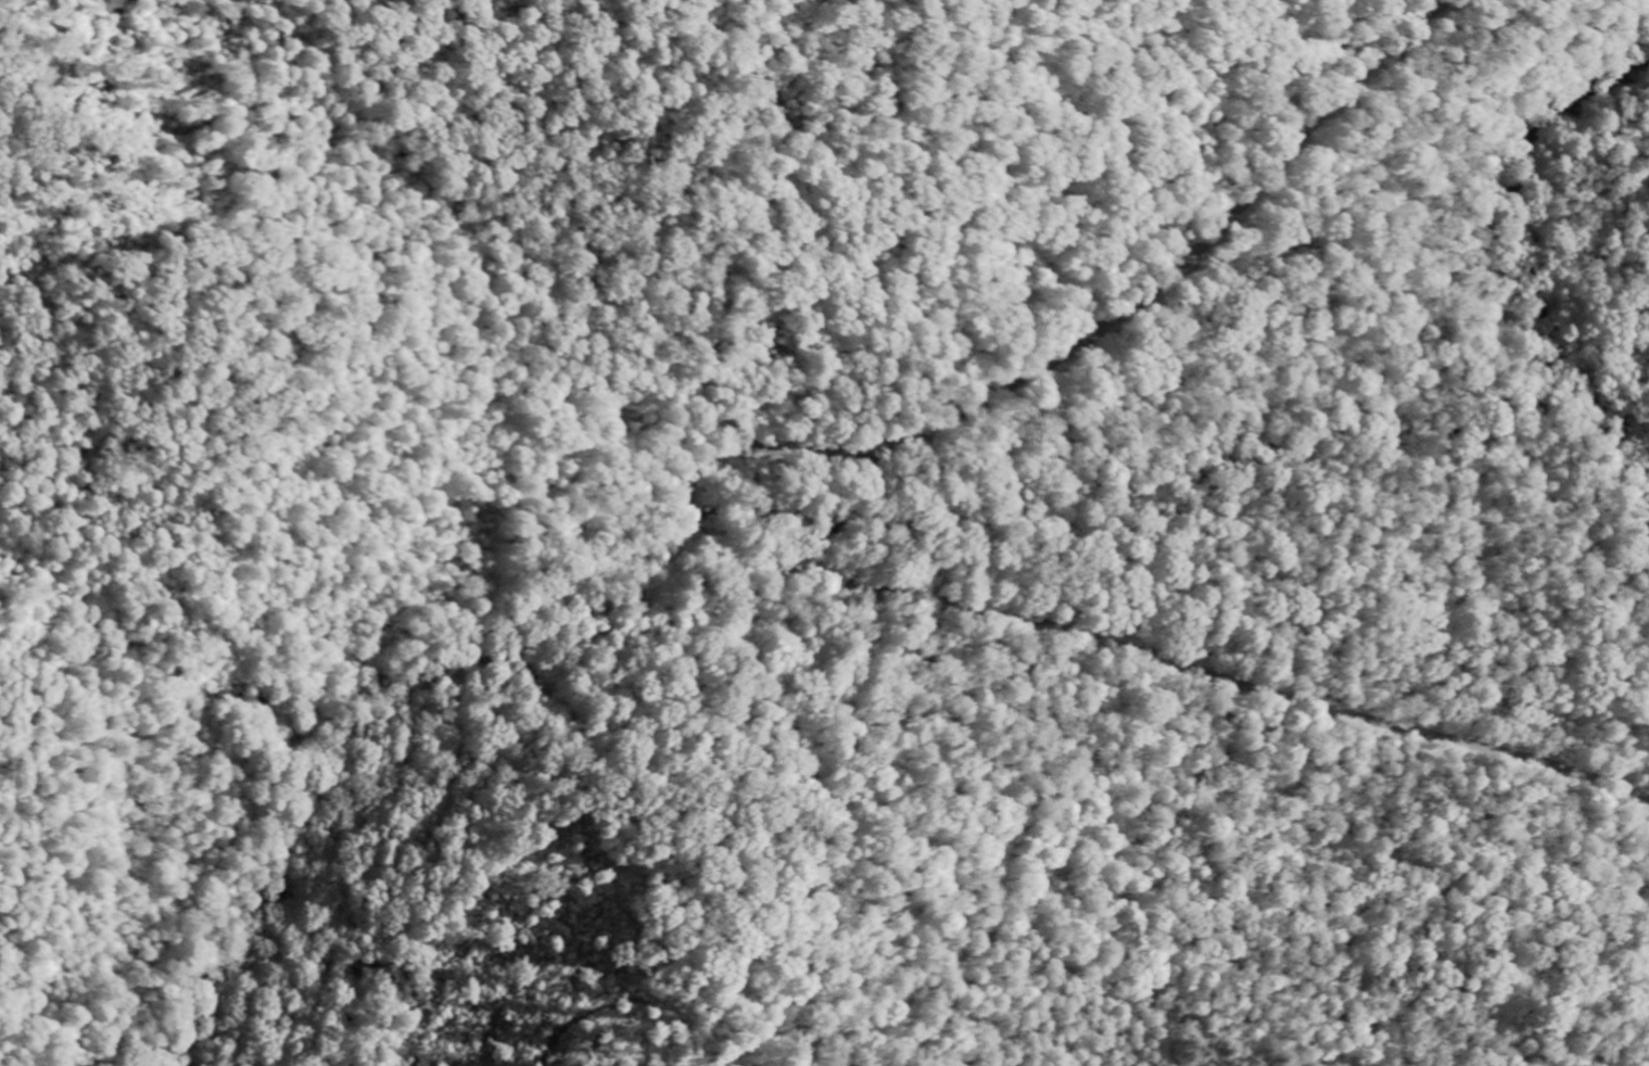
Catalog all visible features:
road: (687, 491)
road: (705, 528)

